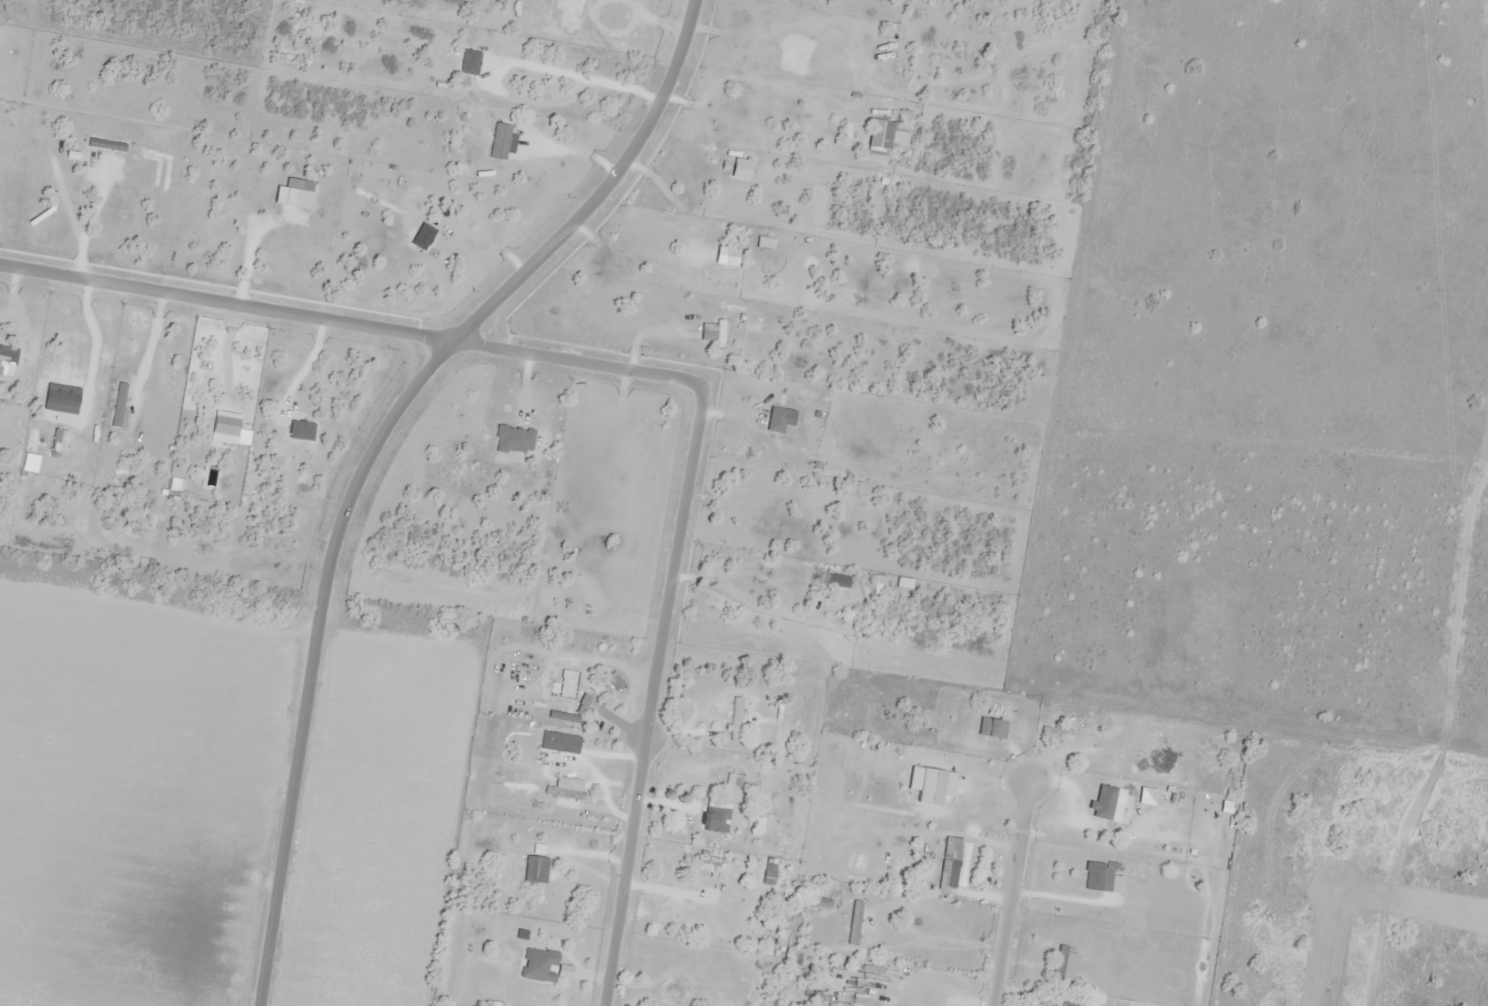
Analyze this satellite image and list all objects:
road: (527, 351)
road: (368, 453)
building: (615, 682)
building: (578, 699)
building: (728, 718)
building: (1001, 721)
building: (1091, 744)
building: (563, 792)
building: (1103, 801)
building: (715, 818)
building: (954, 862)
building: (535, 869)
road: (624, 872)
building: (768, 877)
building: (1097, 877)
road: (1010, 896)
building: (821, 902)
building: (1064, 963)
building: (538, 964)
building: (1069, 1004)

